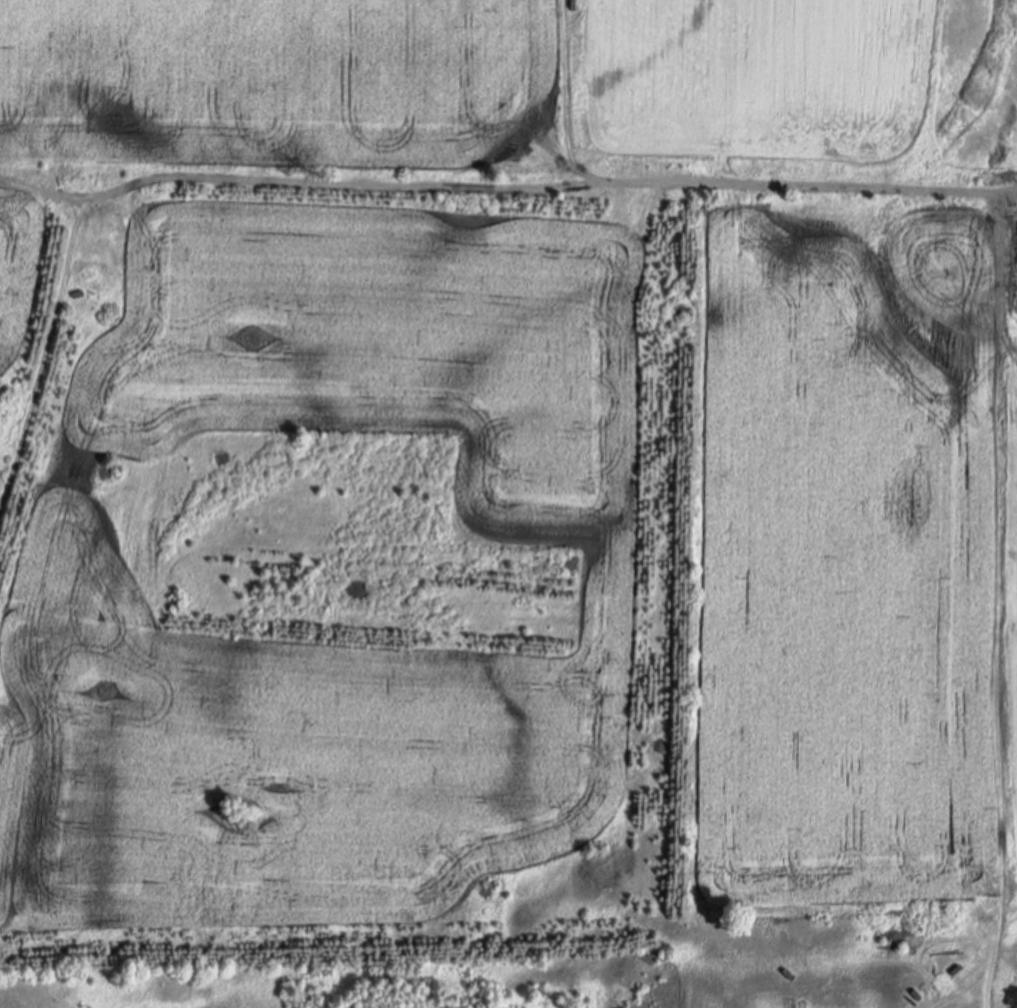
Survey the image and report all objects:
road: (804, 185)
quarry: (526, 978)

